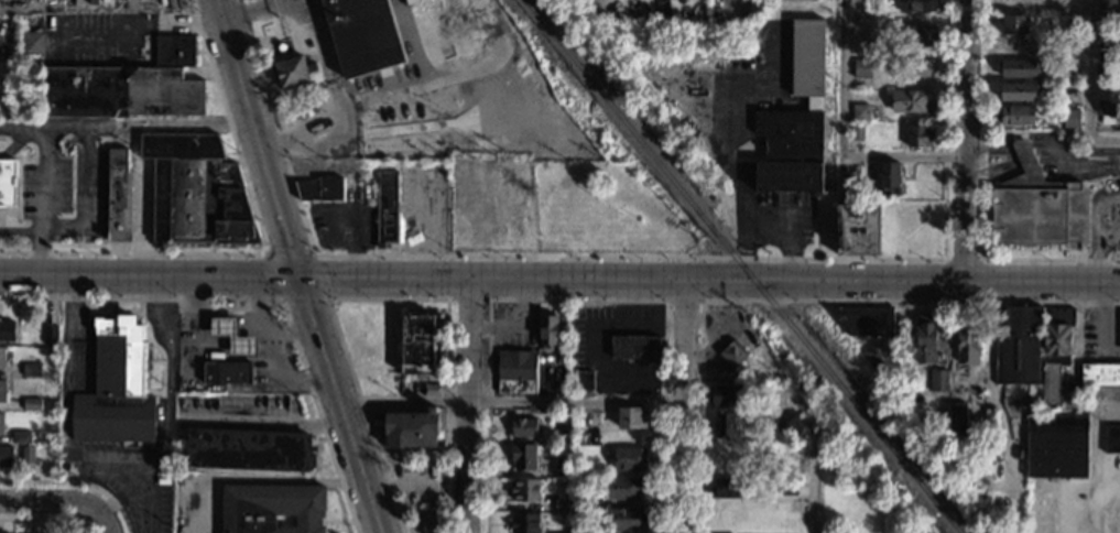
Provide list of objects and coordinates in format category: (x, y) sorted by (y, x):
building: (411, 1)
building: (1019, 3)
building: (1068, 3)
building: (1108, 4)
building: (917, 6)
building: (1014, 24)
building: (1108, 26)
building: (860, 34)
building: (915, 36)
building: (382, 39)
building: (421, 39)
building: (33, 42)
building: (1067, 43)
building: (1019, 45)
building: (329, 50)
building: (175, 51)
building: (1108, 55)
building: (913, 67)
building: (1019, 67)
building: (862, 68)
building: (292, 70)
building: (1070, 73)
building: (1106, 80)
road: (1089, 81)
building: (119, 91)
building: (1018, 91)
building: (1072, 97)
building: (911, 99)
building: (860, 111)
building: (1106, 112)
building: (1014, 116)
building: (1070, 118)
building: (796, 119)
road: (148, 123)
road: (22, 124)
building: (857, 131)
building: (920, 137)
road: (257, 138)
road: (966, 140)
road: (841, 141)
road: (1022, 150)
road: (989, 151)
road: (1056, 152)
road: (1078, 162)
road: (1027, 163)
road: (991, 172)
building: (890, 180)
building: (8, 182)
building: (320, 188)
building: (195, 189)
building: (119, 195)
road: (981, 198)
building: (387, 207)
building: (1037, 207)
road: (1097, 210)
building: (857, 229)
road: (58, 230)
road: (19, 231)
road: (1108, 238)
road: (261, 250)
road: (36, 252)
road: (623, 257)
road: (960, 259)
road: (1096, 260)
railway: (740, 266)
road: (149, 274)
traffic signals: (298, 278)
road: (709, 279)
road: (157, 291)
road: (263, 297)
road: (326, 300)
road: (381, 300)
road: (468, 300)
road: (576, 300)
road: (683, 301)
road: (794, 301)
road: (72, 303)
road: (157, 317)
building: (865, 320)
building: (546, 329)
building: (7, 330)
building: (50, 335)
building: (233, 337)
building: (926, 339)
road: (168, 340)
building: (416, 345)
building: (967, 345)
building: (1020, 347)
building: (635, 348)
building: (1056, 351)
building: (732, 353)
building: (2, 357)
building: (878, 358)
road: (68, 367)
building: (32, 370)
building: (516, 371)
building: (231, 372)
building: (1099, 376)
building: (584, 380)
building: (939, 381)
building: (573, 385)
building: (116, 387)
building: (231, 390)
building: (431, 390)
building: (3, 392)
building: (959, 393)
building: (727, 395)
building: (1070, 399)
road: (510, 401)
building: (32, 404)
road: (339, 404)
road: (467, 404)
road: (681, 405)
road: (1105, 409)
building: (632, 417)
building: (938, 418)
building: (957, 420)
building: (565, 421)
building: (787, 421)
building: (986, 421)
road: (263, 423)
building: (1, 424)
building: (725, 425)
road: (167, 427)
building: (523, 427)
building: (411, 428)
building: (586, 434)
road: (65, 436)
building: (21, 437)
building: (1112, 438)
building: (1057, 444)
building: (249, 449)
building: (6, 455)
building: (24, 455)
building: (523, 456)
building: (630, 458)
building: (725, 459)
road: (104, 461)
building: (791, 461)
building: (563, 467)
road: (253, 479)
road: (814, 479)
road: (77, 481)
road: (416, 486)
building: (626, 486)
building: (787, 487)
building: (726, 488)
building: (525, 490)
road: (150, 497)
road: (47, 502)
building: (584, 502)
parking lot: (198, 503)
building: (562, 504)
building: (272, 508)
building: (626, 518)
road: (46, 520)
road: (104, 520)
road: (336, 521)
building: (524, 523)
building: (567, 530)
building: (584, 530)
building: (556, 532)

